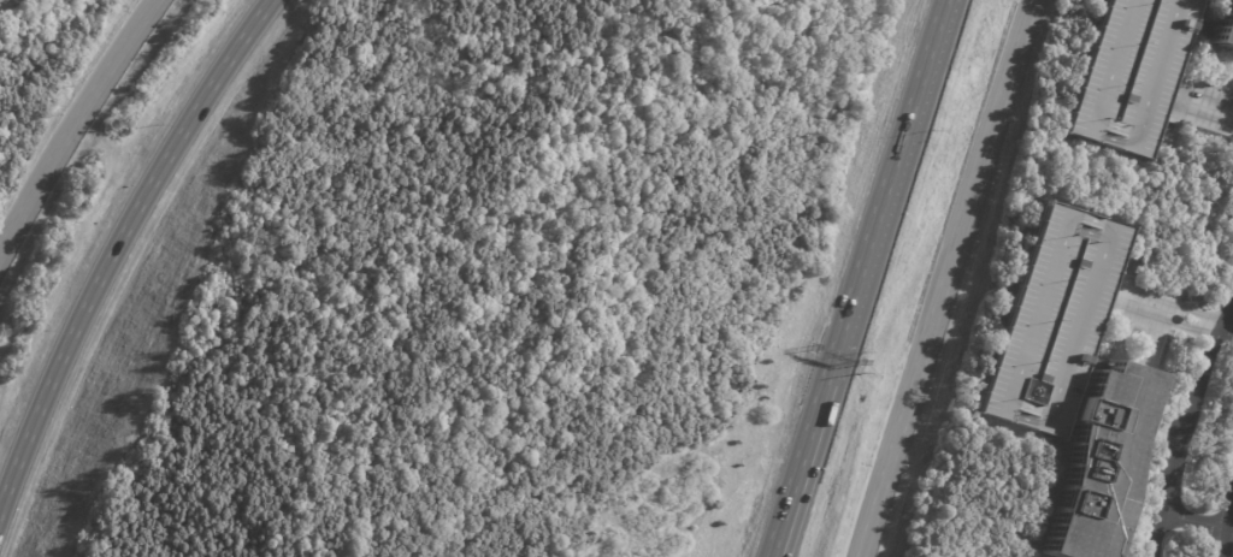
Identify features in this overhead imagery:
parking lot: (8, 8)
building: (1139, 70)
road: (1228, 93)
road: (1202, 96)
road: (73, 124)
road: (885, 190)
road: (114, 247)
road: (946, 278)
road: (963, 278)
road: (1173, 312)
building: (1051, 318)
road: (1232, 319)
road: (1182, 432)
road: (803, 455)
building: (1099, 463)
road: (1193, 519)
road: (1228, 525)
road: (1223, 526)
road: (777, 543)
road: (779, 543)
park: (1227, 543)

